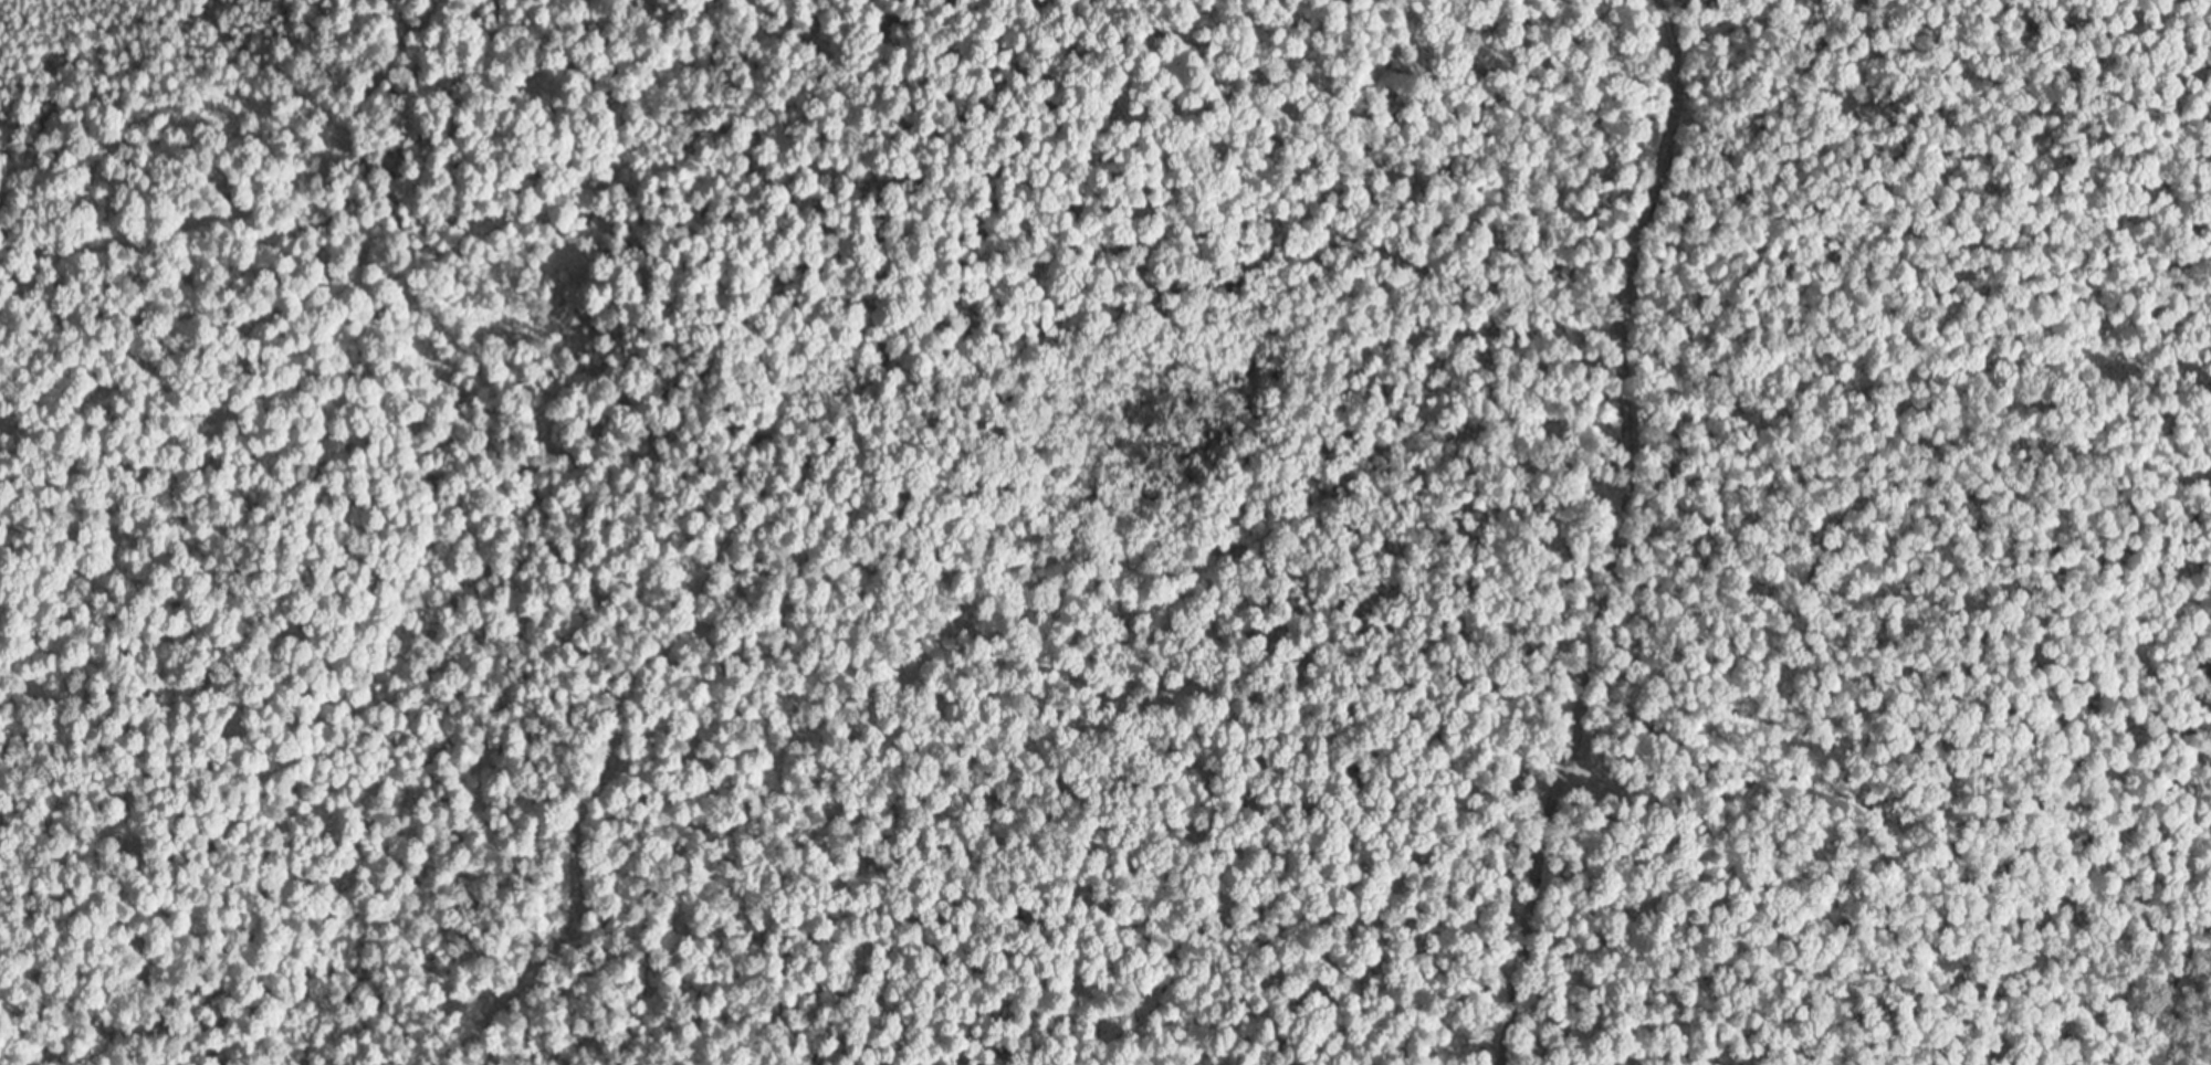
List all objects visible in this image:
road: (1605, 531)

